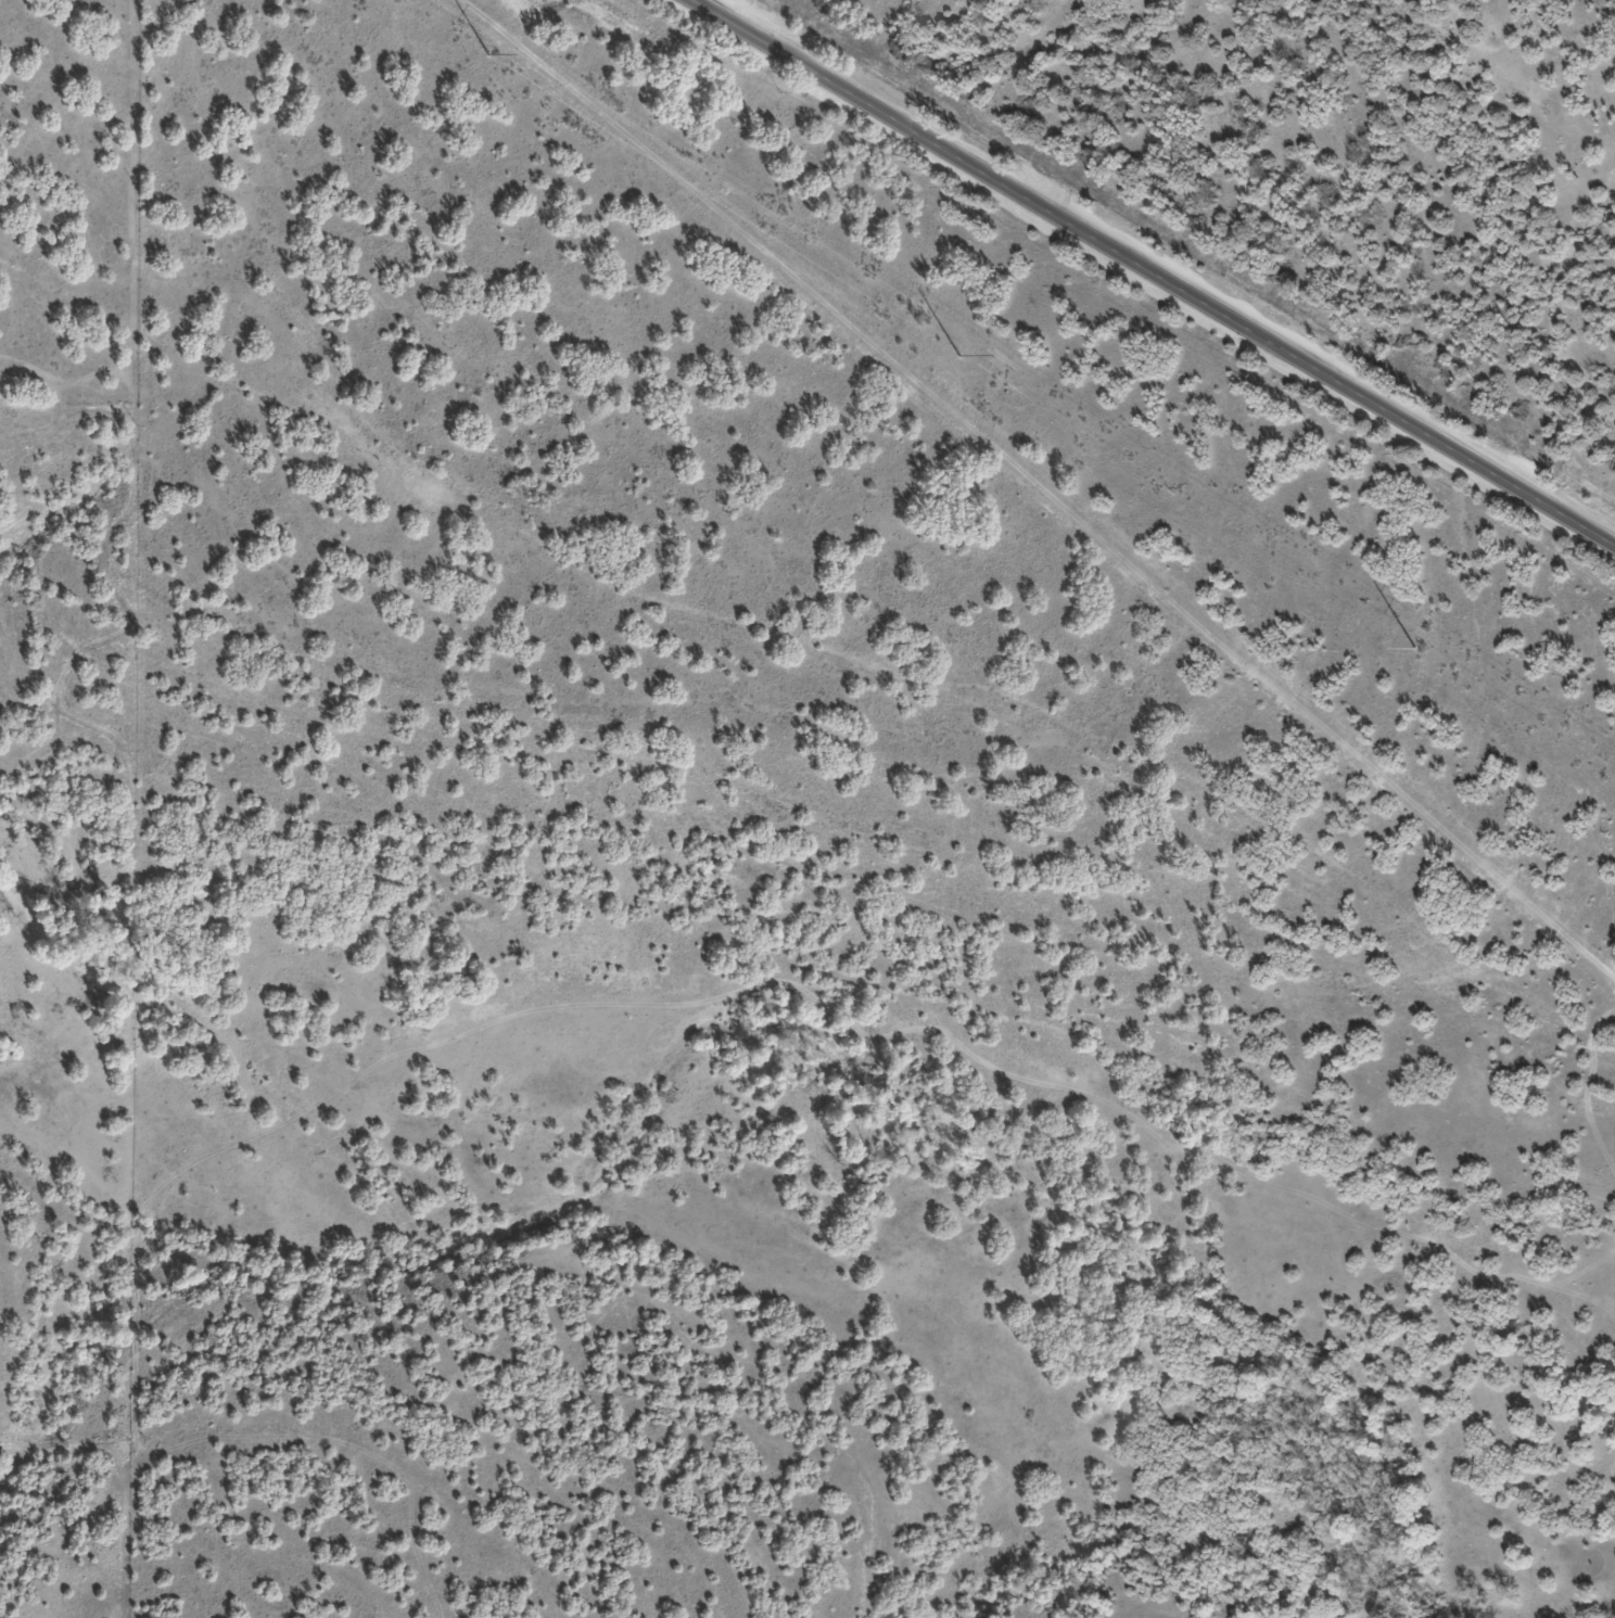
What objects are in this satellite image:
power tower: (486, 55)
road: (1154, 271)
power tower: (957, 358)
power tower: (1411, 648)

